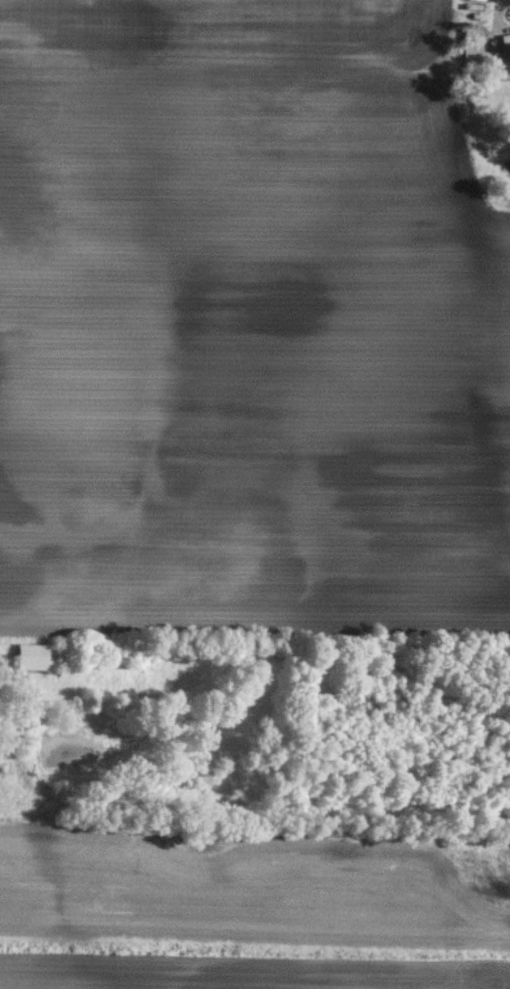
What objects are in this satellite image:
road: (509, 0)
road: (494, 20)
building: (504, 55)
building: (31, 655)

